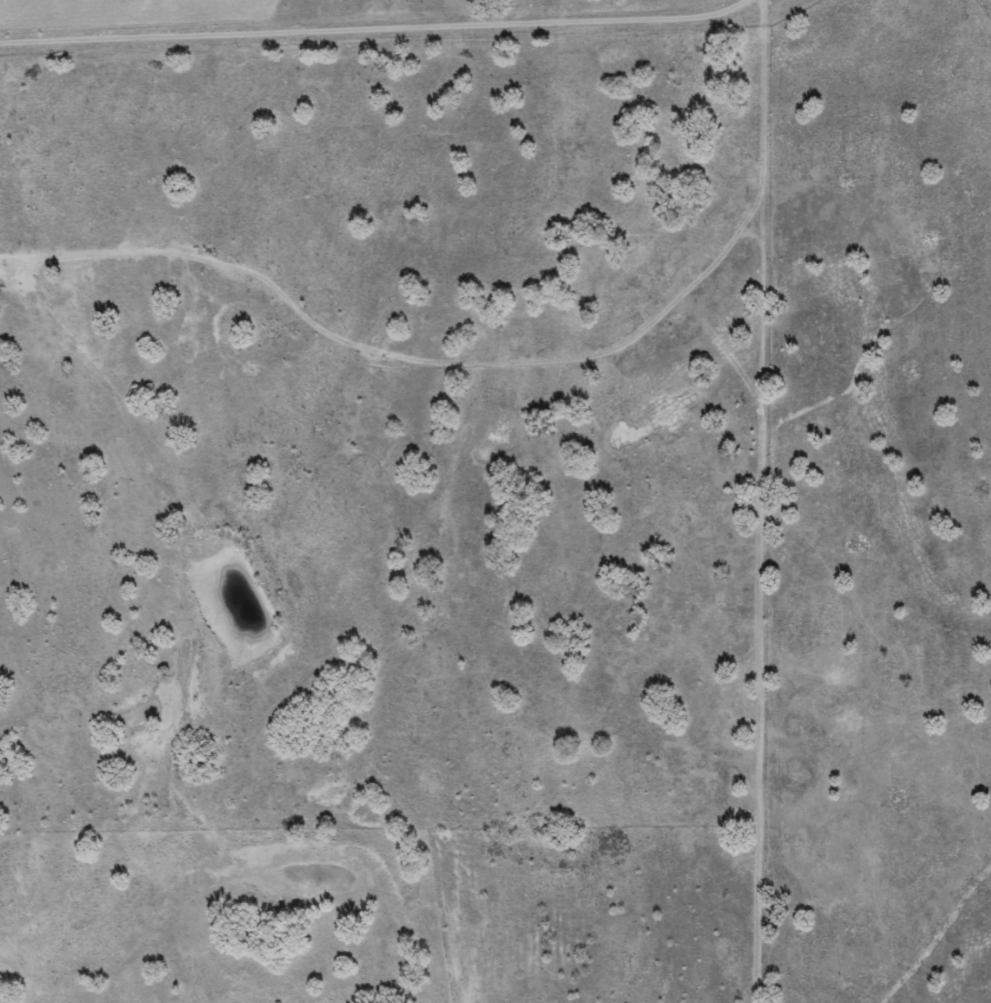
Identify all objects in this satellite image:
road: (785, 5)
road: (392, 26)
road: (789, 507)

